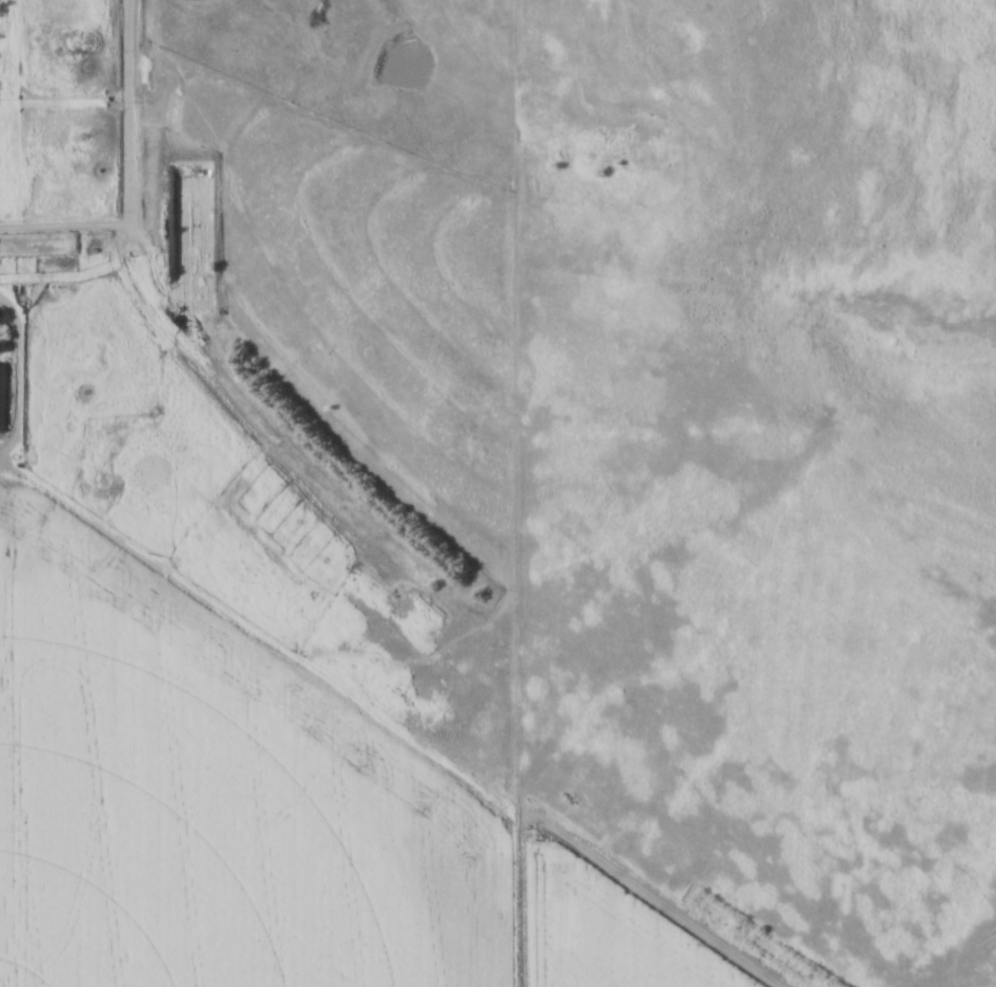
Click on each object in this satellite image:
road: (157, 323)
building: (1, 394)
crop: (262, 817)

